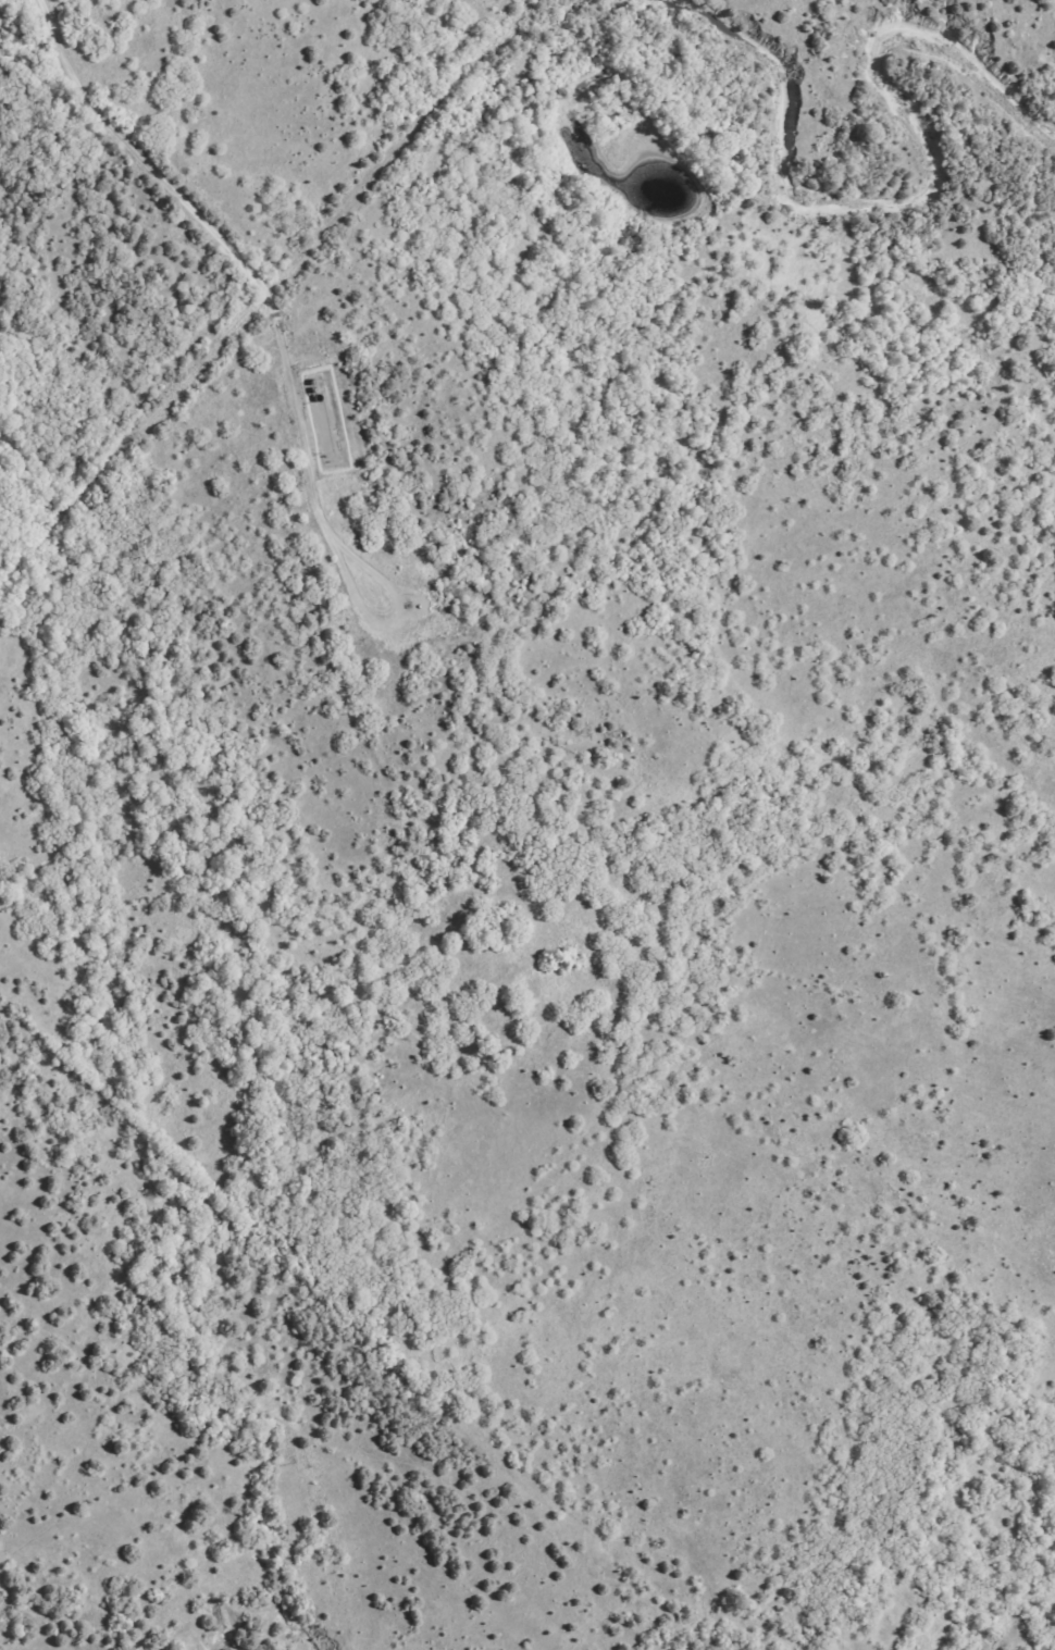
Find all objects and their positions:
road: (237, 263)

